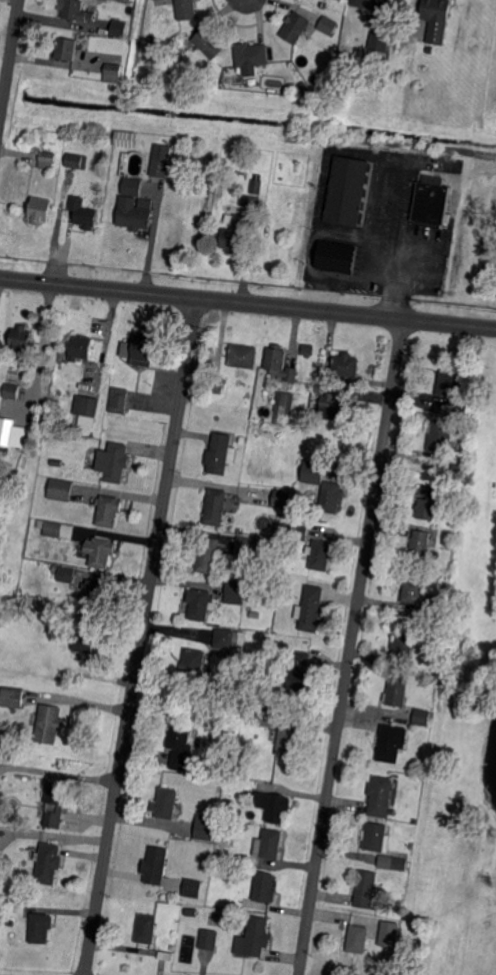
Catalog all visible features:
building: (369, 4)
building: (72, 9)
building: (186, 9)
building: (436, 19)
building: (328, 25)
building: (295, 28)
building: (118, 29)
building: (150, 39)
building: (379, 41)
building: (209, 43)
building: (65, 48)
building: (252, 54)
road: (9, 61)
building: (113, 70)
building: (211, 82)
building: (307, 91)
building: (124, 137)
road: (326, 151)
building: (47, 160)
building: (77, 160)
building: (160, 166)
building: (137, 172)
building: (131, 185)
building: (256, 187)
building: (350, 191)
building: (431, 202)
building: (40, 210)
building: (83, 214)
building: (135, 217)
building: (234, 235)
road: (151, 238)
building: (337, 257)
road: (393, 301)
road: (248, 305)
building: (23, 340)
building: (80, 347)
building: (141, 348)
building: (307, 349)
building: (243, 356)
building: (280, 363)
building: (346, 365)
building: (450, 383)
building: (217, 385)
building: (320, 389)
building: (11, 391)
building: (119, 400)
building: (444, 404)
building: (85, 406)
building: (282, 406)
building: (336, 408)
building: (459, 410)
building: (11, 432)
building: (441, 436)
building: (218, 454)
building: (114, 462)
building: (457, 467)
building: (57, 473)
building: (325, 488)
building: (59, 490)
building: (456, 491)
building: (281, 498)
building: (215, 508)
building: (426, 509)
building: (109, 510)
building: (58, 517)
building: (52, 529)
building: (300, 531)
building: (449, 539)
building: (420, 545)
building: (246, 546)
building: (447, 546)
building: (100, 551)
building: (207, 555)
building: (322, 555)
building: (54, 568)
building: (66, 574)
building: (52, 576)
building: (94, 593)
building: (234, 593)
building: (417, 594)
building: (33, 600)
building: (198, 604)
building: (310, 609)
road: (141, 637)
building: (228, 639)
building: (84, 643)
building: (402, 643)
road: (351, 647)
building: (192, 666)
building: (298, 675)
building: (397, 692)
building: (13, 698)
building: (264, 716)
building: (421, 717)
building: (49, 723)
building: (288, 741)
building: (391, 742)
building: (180, 745)
building: (425, 751)
road: (59, 770)
building: (380, 796)
building: (166, 803)
building: (273, 805)
building: (55, 806)
building: (205, 826)
building: (377, 836)
building: (269, 845)
building: (400, 862)
building: (49, 863)
building: (156, 865)
building: (265, 887)
building: (193, 888)
building: (365, 888)
building: (400, 904)
building: (40, 927)
building: (147, 929)
building: (390, 935)
building: (257, 936)
building: (358, 938)
building: (208, 939)
park: (462, 950)
building: (165, 956)

